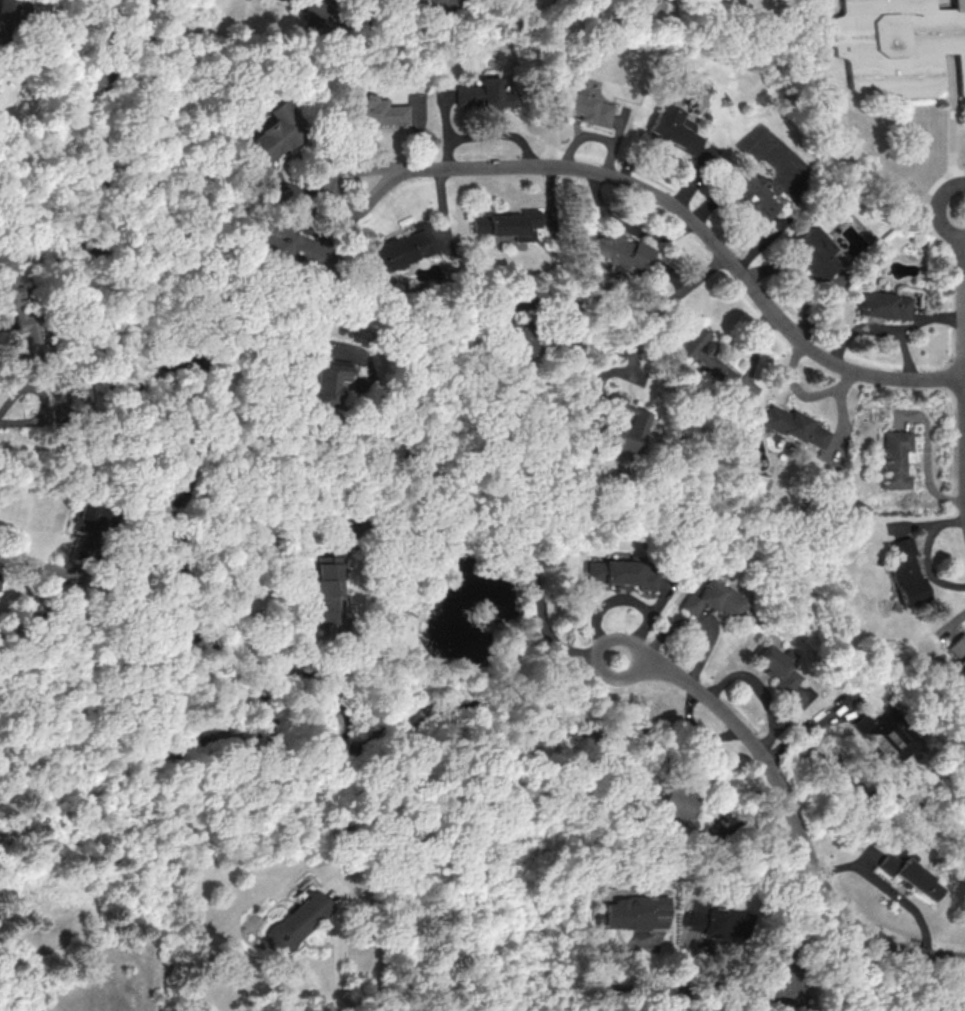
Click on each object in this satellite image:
road: (955, 3)
building: (13, 10)
building: (899, 47)
building: (485, 92)
building: (587, 106)
building: (374, 111)
road: (939, 114)
road: (952, 122)
building: (674, 129)
building: (265, 140)
building: (748, 192)
road: (917, 209)
road: (680, 217)
building: (476, 224)
building: (512, 224)
building: (276, 242)
building: (396, 248)
building: (612, 252)
building: (805, 253)
road: (964, 265)
building: (7, 280)
road: (665, 299)
building: (875, 305)
building: (502, 328)
road: (523, 330)
building: (698, 358)
road: (957, 366)
building: (325, 380)
building: (75, 396)
road: (42, 400)
building: (614, 425)
building: (786, 426)
building: (887, 459)
road: (481, 513)
road: (397, 514)
building: (80, 520)
road: (35, 568)
building: (902, 572)
building: (622, 573)
river: (185, 584)
building: (326, 594)
building: (716, 601)
building: (956, 652)
building: (778, 667)
building: (888, 737)
river: (764, 772)
river: (880, 790)
building: (673, 802)
road: (791, 812)
building: (910, 875)
road: (355, 891)
building: (633, 912)
building: (295, 920)
building: (704, 920)
road: (616, 970)
building: (782, 984)

